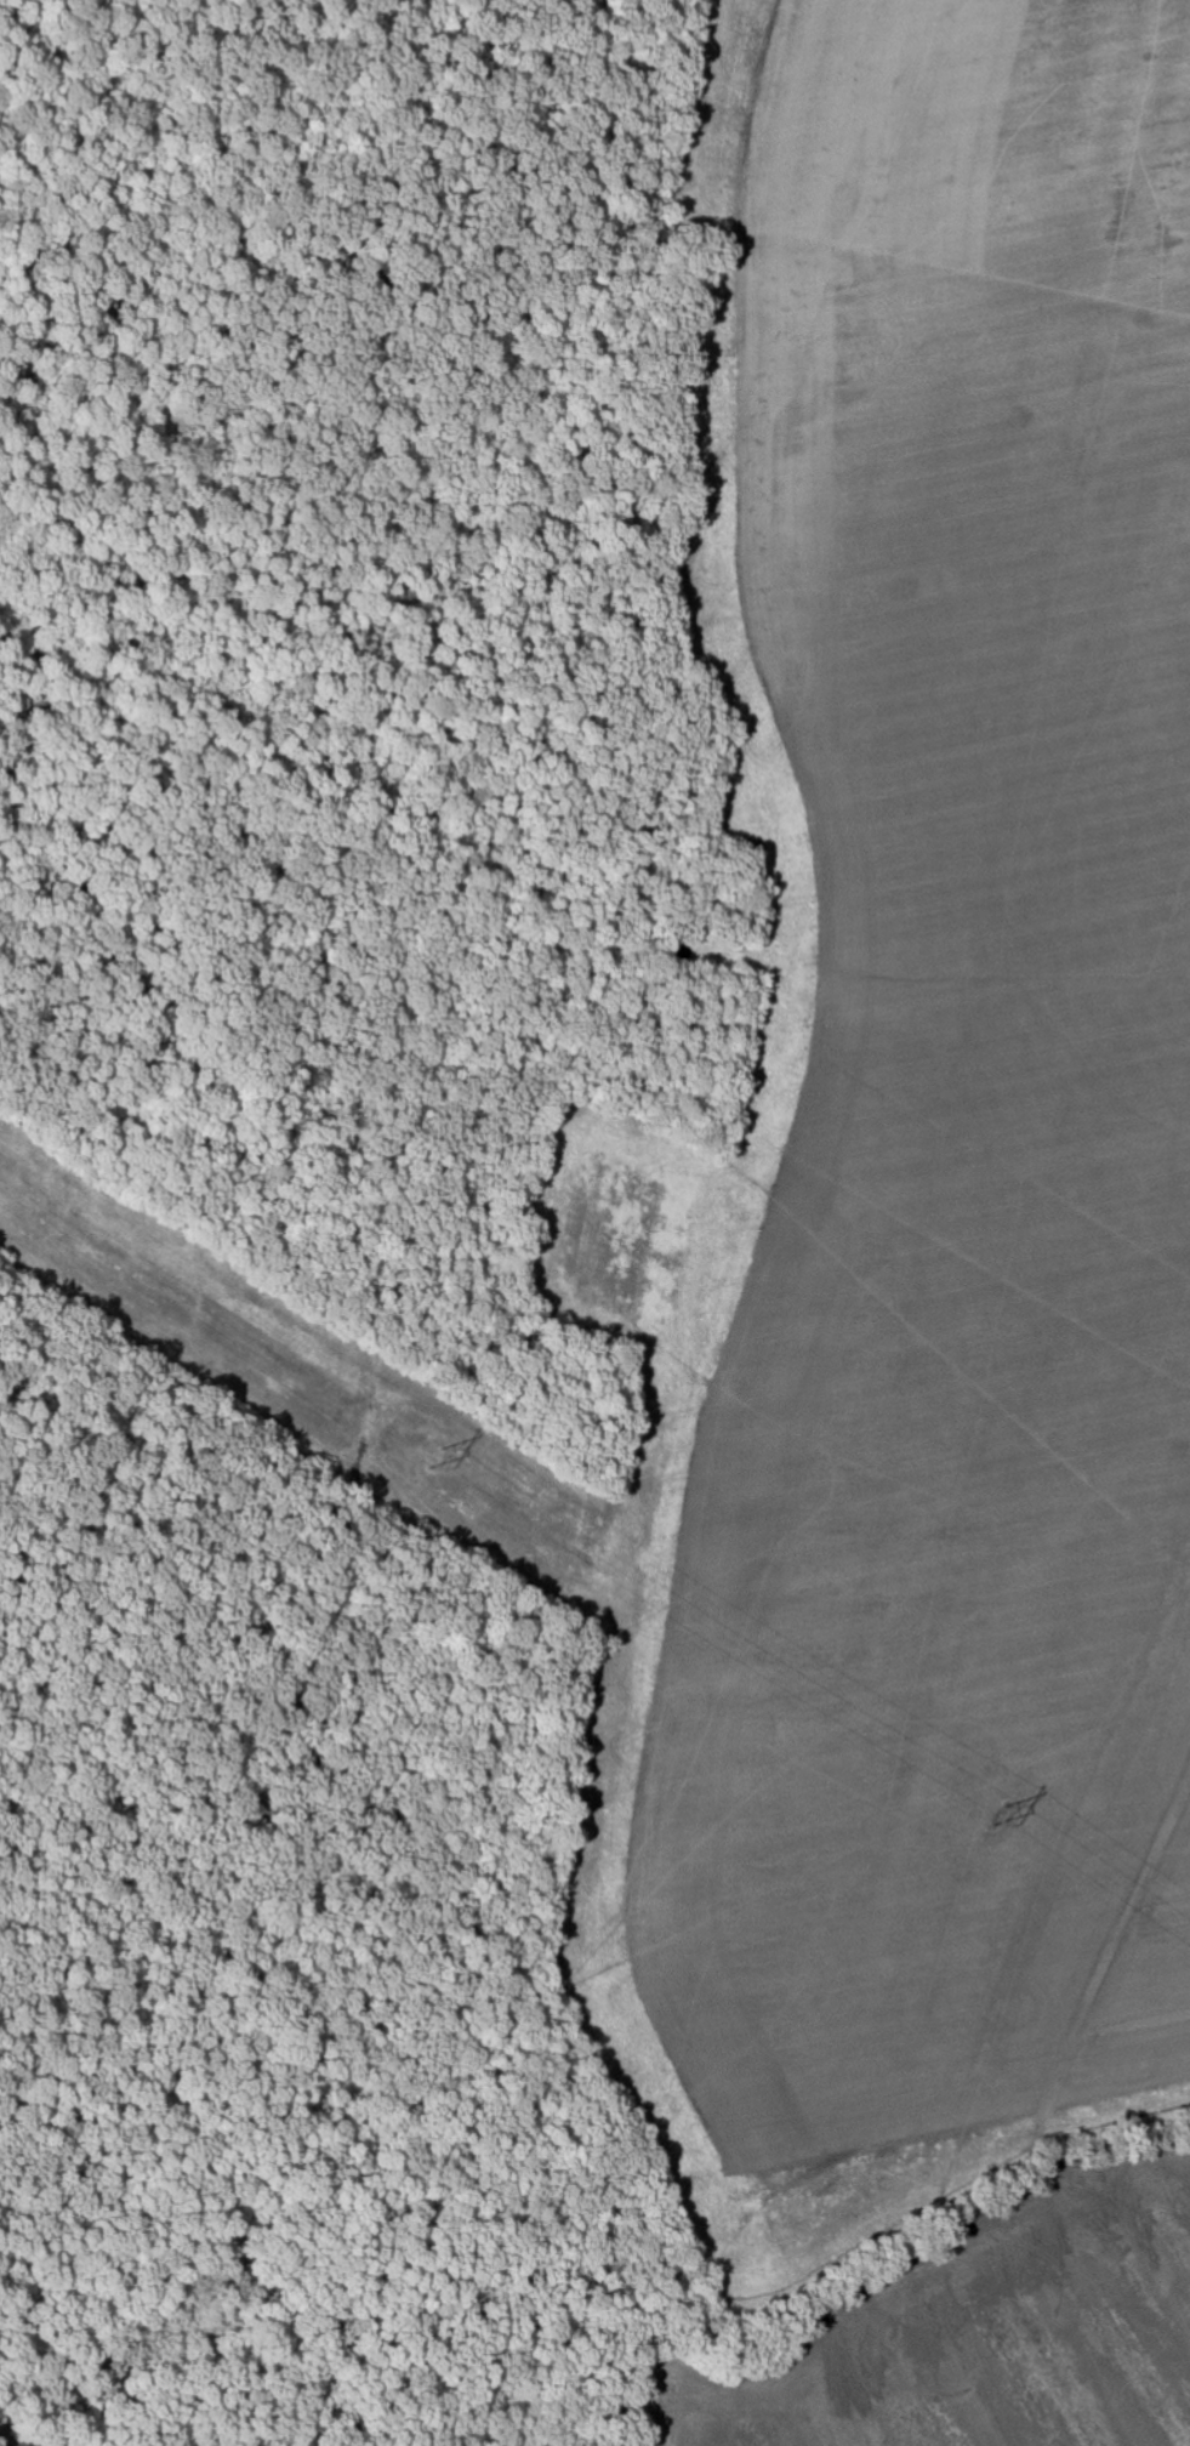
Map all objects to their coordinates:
power tower: (432, 1460)
power tower: (997, 1818)

